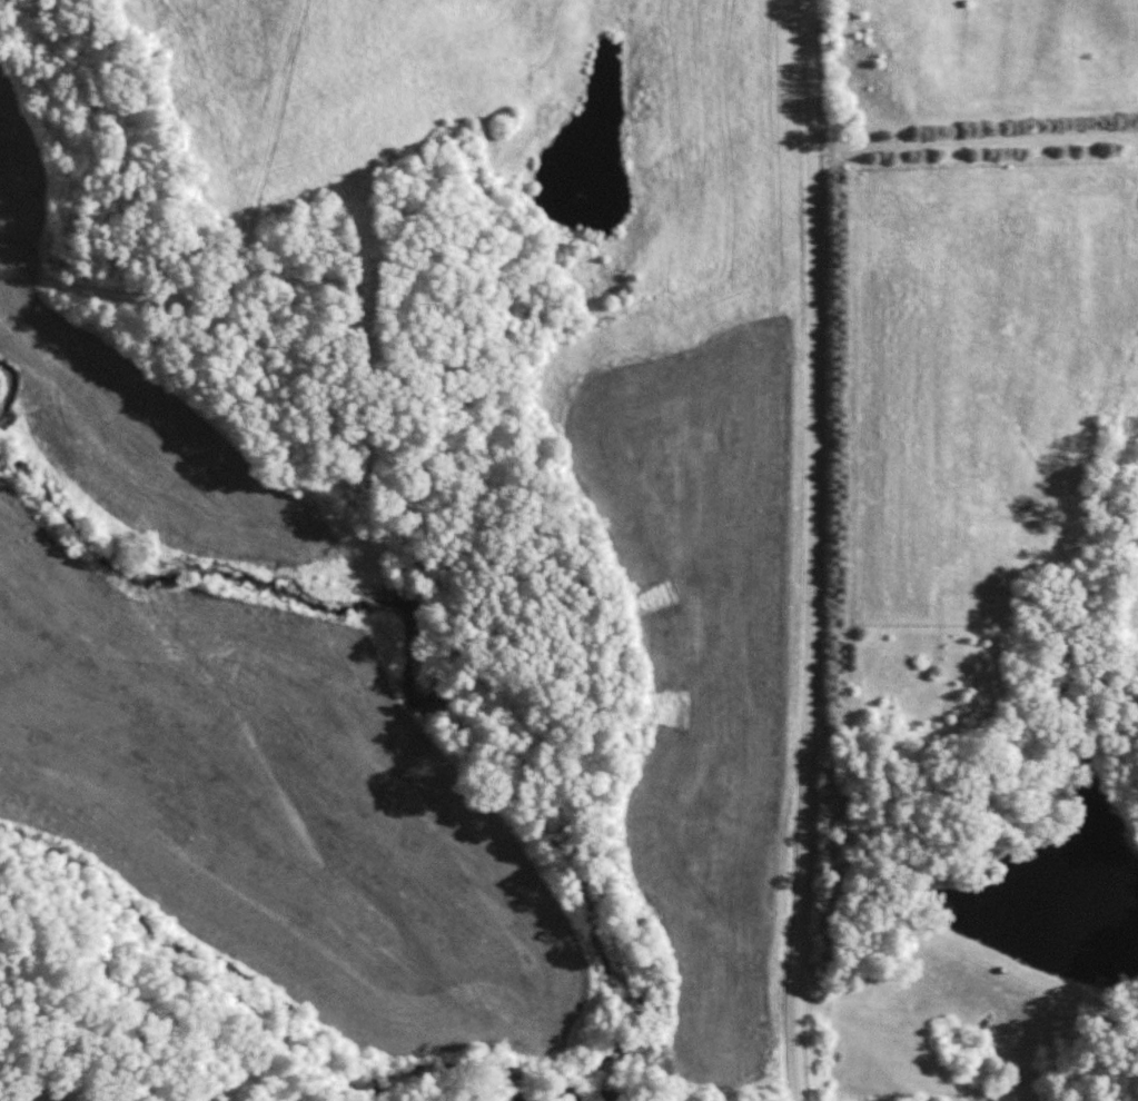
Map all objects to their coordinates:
road: (814, 549)

